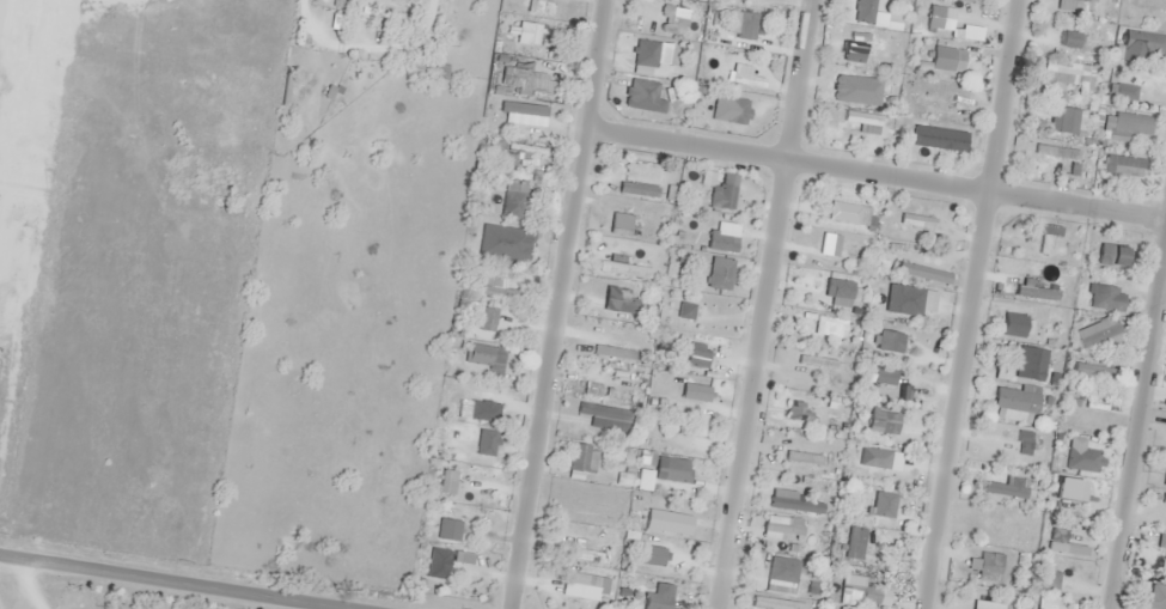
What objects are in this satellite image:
building: (0, 1)
building: (659, 6)
building: (1144, 14)
building: (935, 17)
building: (745, 25)
building: (527, 36)
building: (1070, 41)
building: (1143, 42)
building: (646, 53)
building: (939, 60)
building: (524, 68)
building: (437, 69)
building: (1067, 74)
building: (746, 80)
building: (286, 89)
building: (940, 93)
building: (635, 101)
building: (735, 111)
building: (523, 112)
building: (861, 117)
building: (1067, 121)
building: (1133, 123)
building: (935, 140)
building: (1124, 163)
road: (874, 173)
building: (635, 185)
building: (722, 195)
building: (514, 200)
building: (843, 212)
building: (621, 223)
building: (1048, 237)
building: (721, 240)
building: (841, 242)
building: (1112, 255)
building: (624, 268)
building: (720, 273)
building: (495, 287)
building: (832, 288)
building: (891, 292)
building: (1036, 292)
road: (555, 304)
building: (624, 304)
road: (765, 304)
road: (971, 304)
building: (685, 310)
building: (487, 318)
building: (831, 323)
building: (1095, 334)
building: (887, 341)
building: (610, 351)
building: (696, 354)
building: (495, 360)
building: (1033, 364)
building: (604, 369)
building: (1092, 370)
building: (814, 373)
building: (694, 391)
building: (1019, 396)
building: (603, 412)
building: (798, 412)
building: (1086, 419)
road: (1138, 431)
building: (686, 432)
building: (1006, 452)
building: (581, 457)
building: (802, 457)
building: (873, 457)
building: (1083, 459)
building: (673, 469)
building: (458, 480)
building: (1081, 492)
building: (1164, 498)
building: (863, 501)
building: (794, 504)
building: (584, 511)
building: (1002, 525)
building: (801, 535)
building: (1070, 536)
building: (850, 542)
building: (588, 554)
building: (990, 561)
building: (460, 562)
building: (786, 570)
building: (1049, 577)
road: (166, 584)
building: (862, 592)
building: (1155, 596)
building: (658, 597)
building: (988, 599)

